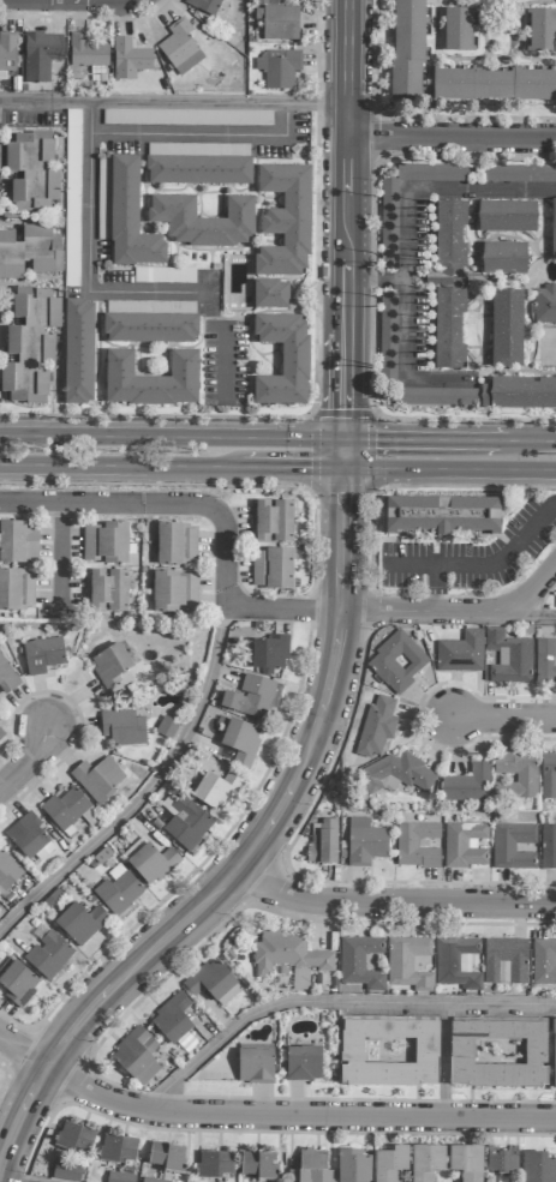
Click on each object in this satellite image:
building: (204, 6)
building: (277, 20)
building: (459, 30)
building: (542, 31)
building: (180, 48)
building: (408, 50)
building: (86, 52)
building: (7, 54)
building: (41, 56)
building: (130, 60)
building: (277, 68)
building: (494, 85)
road: (173, 104)
building: (187, 118)
road: (91, 119)
road: (452, 137)
road: (90, 157)
building: (198, 170)
building: (31, 173)
building: (518, 174)
building: (72, 176)
road: (437, 191)
building: (124, 214)
building: (507, 217)
road: (346, 218)
building: (203, 221)
building: (285, 222)
building: (389, 226)
building: (554, 229)
building: (30, 252)
building: (504, 258)
building: (449, 284)
building: (270, 295)
building: (545, 305)
building: (150, 329)
building: (507, 329)
road: (406, 334)
building: (388, 337)
building: (30, 346)
building: (78, 352)
building: (283, 361)
building: (151, 380)
building: (519, 394)
building: (437, 397)
traffic signals: (345, 409)
road: (172, 436)
traffic signals: (376, 437)
road: (432, 437)
road: (538, 439)
road: (343, 451)
road: (118, 466)
road: (289, 467)
traffic signals: (311, 467)
road: (449, 468)
traffic signals: (343, 493)
road: (156, 503)
road: (555, 503)
building: (442, 515)
building: (271, 521)
building: (18, 542)
building: (106, 544)
building: (177, 545)
road: (60, 557)
road: (480, 565)
building: (273, 569)
road: (436, 588)
road: (528, 588)
building: (16, 589)
building: (106, 592)
building: (175, 592)
road: (363, 611)
road: (526, 618)
building: (461, 653)
building: (270, 654)
building: (42, 655)
building: (509, 658)
building: (397, 662)
building: (545, 662)
building: (110, 665)
building: (7, 678)
building: (252, 697)
road: (496, 719)
building: (167, 727)
building: (377, 727)
building: (122, 728)
building: (1, 733)
building: (240, 738)
road: (35, 760)
building: (399, 773)
building: (518, 774)
building: (548, 776)
building: (98, 779)
building: (466, 785)
road: (147, 788)
building: (217, 791)
building: (68, 809)
building: (187, 823)
building: (29, 839)
building: (323, 842)
building: (365, 842)
building: (417, 845)
building: (465, 845)
building: (513, 846)
building: (548, 846)
road: (249, 853)
building: (150, 860)
building: (7, 871)
building: (118, 890)
road: (391, 902)
building: (80, 923)
building: (288, 954)
building: (49, 955)
building: (506, 961)
building: (360, 962)
building: (456, 962)
building: (544, 962)
building: (408, 964)
building: (17, 982)
building: (214, 983)
road: (339, 1008)
building: (172, 1019)
building: (389, 1051)
building: (498, 1054)
building: (554, 1054)
building: (137, 1056)
building: (255, 1063)
building: (304, 1063)
road: (267, 1117)
building: (76, 1138)
building: (118, 1148)
building: (168, 1157)
building: (502, 1159)
building: (426, 1162)
building: (466, 1162)
building: (390, 1163)
building: (215, 1164)
building: (258, 1165)
building: (353, 1166)
building: (311, 1168)
building: (539, 1168)
building: (67, 1171)
building: (120, 1177)
road: (1, 1181)
building: (153, 1181)

